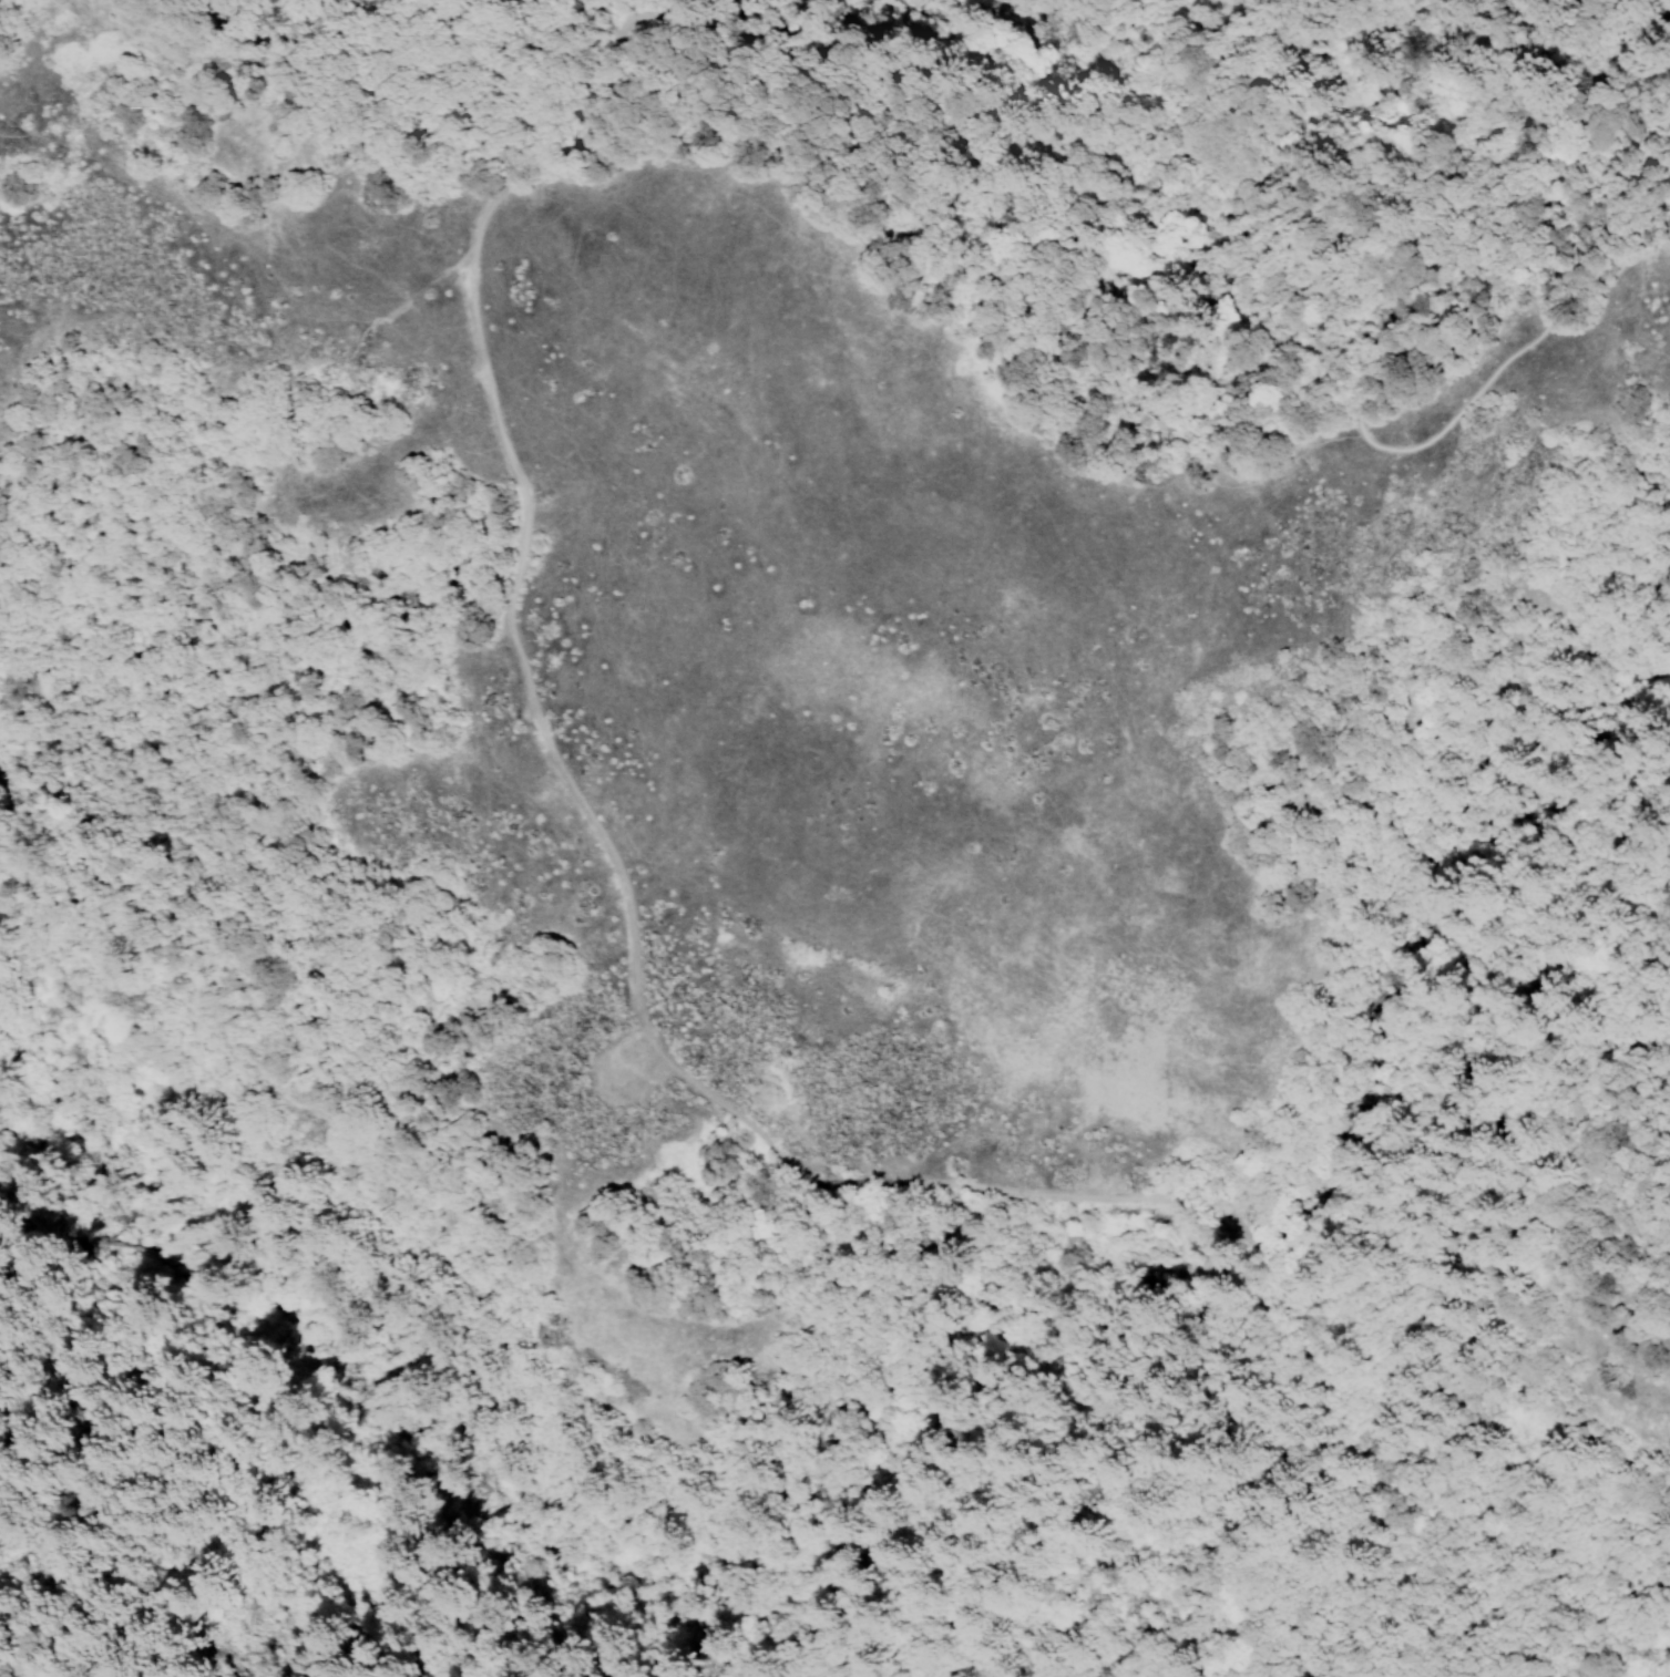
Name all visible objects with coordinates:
road: (996, 172)
road: (1389, 359)
road: (515, 649)
road: (933, 1182)
road: (1233, 1533)
road: (3, 1676)

